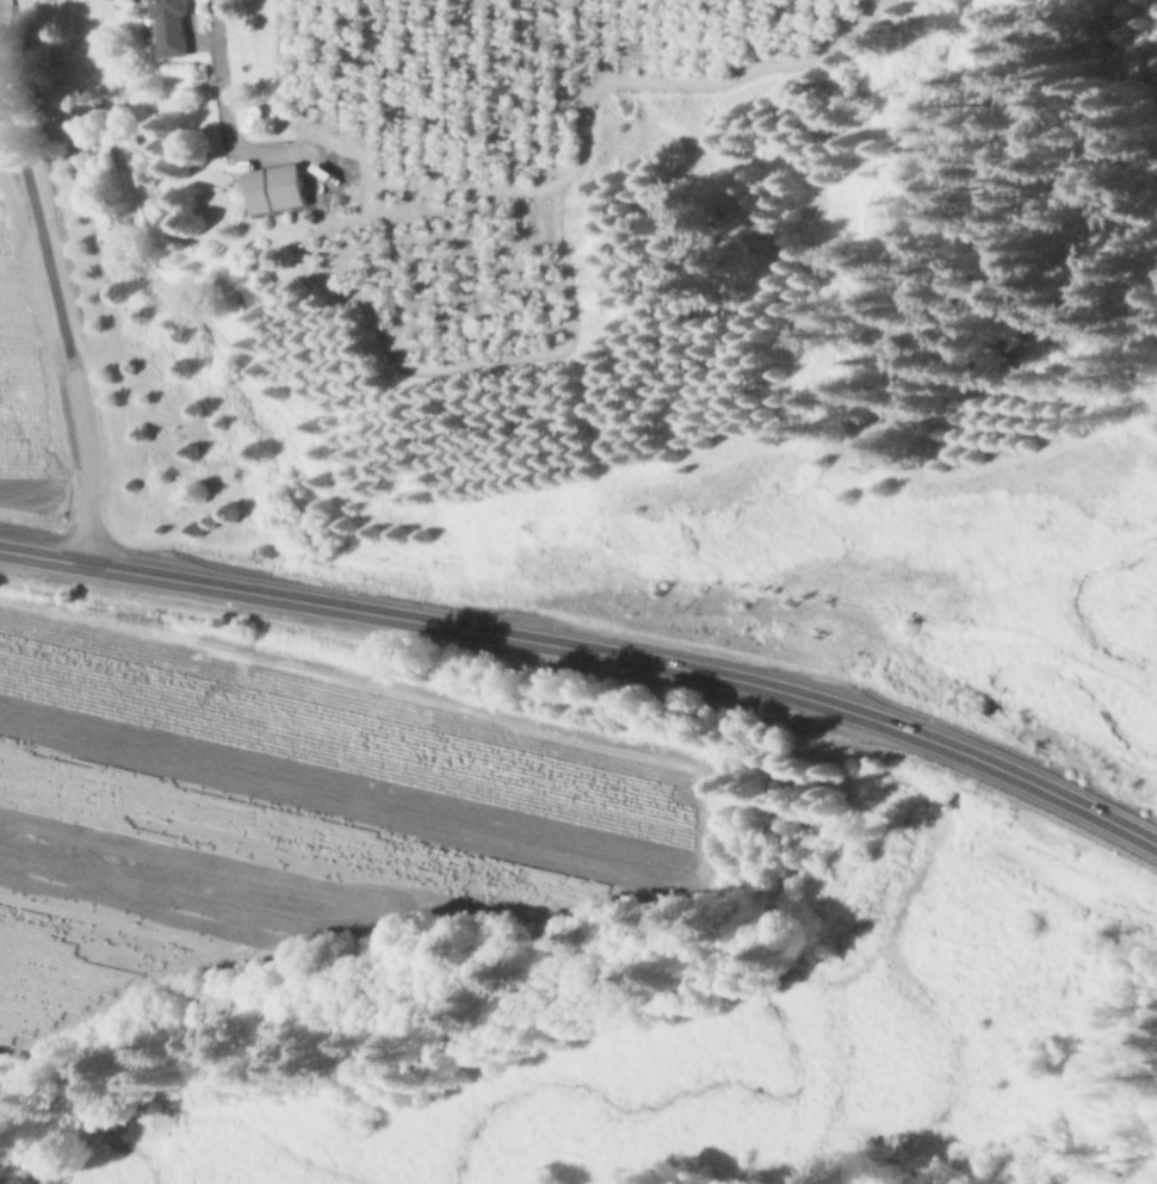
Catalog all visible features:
building: (169, 29)
road: (224, 98)
building: (276, 190)
building: (575, 230)
road: (58, 308)
crop: (39, 311)
road: (420, 622)
road: (960, 752)
crop: (290, 812)
road: (1119, 825)

